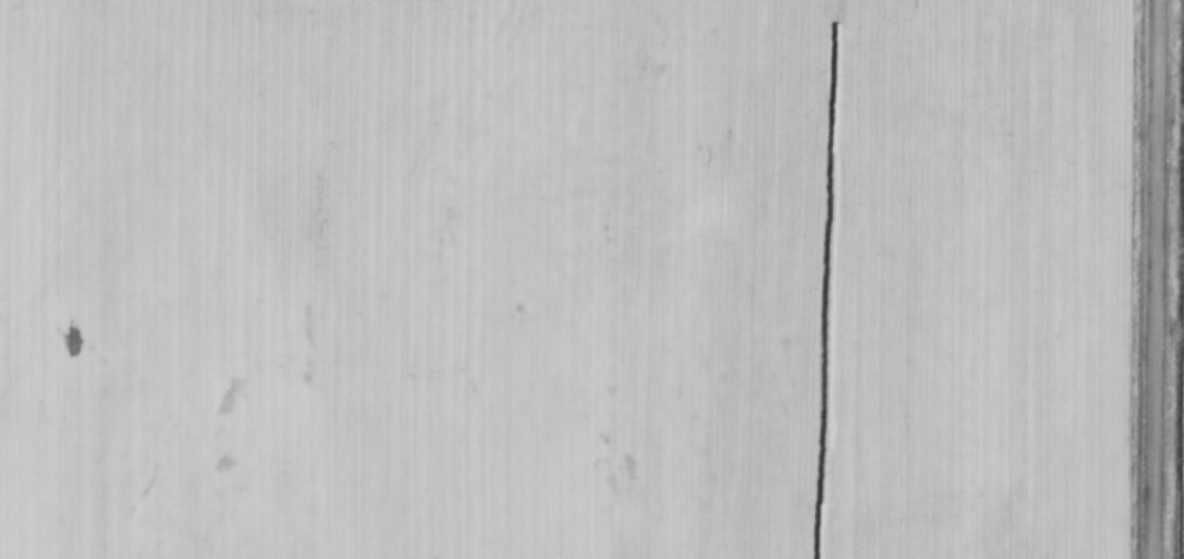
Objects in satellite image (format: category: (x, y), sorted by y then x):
road: (1165, 279)

